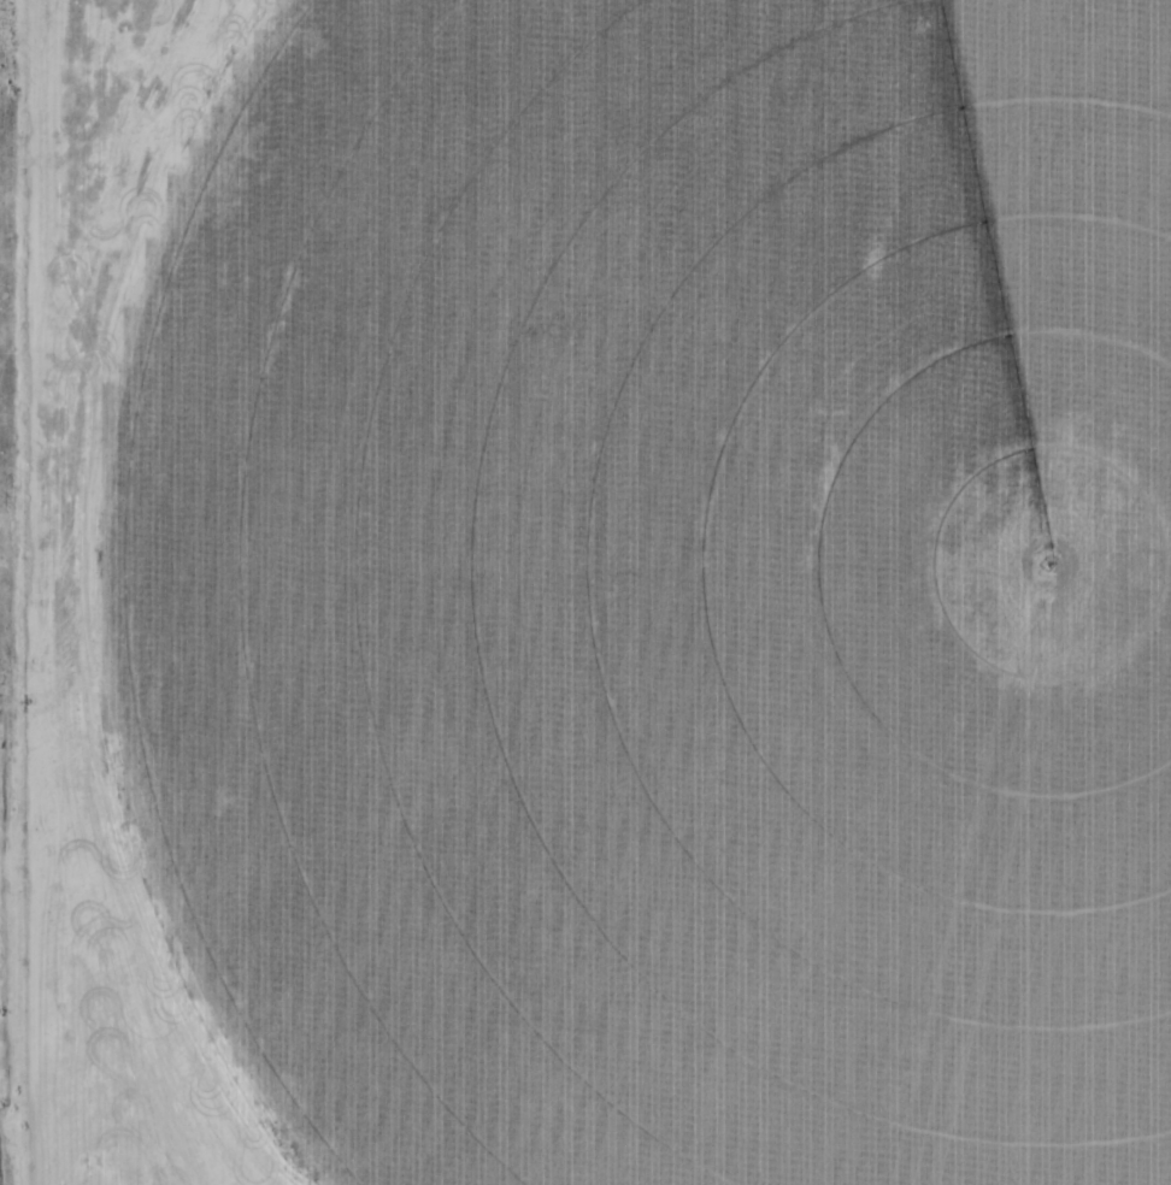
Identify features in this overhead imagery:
crop: (670, 586)

